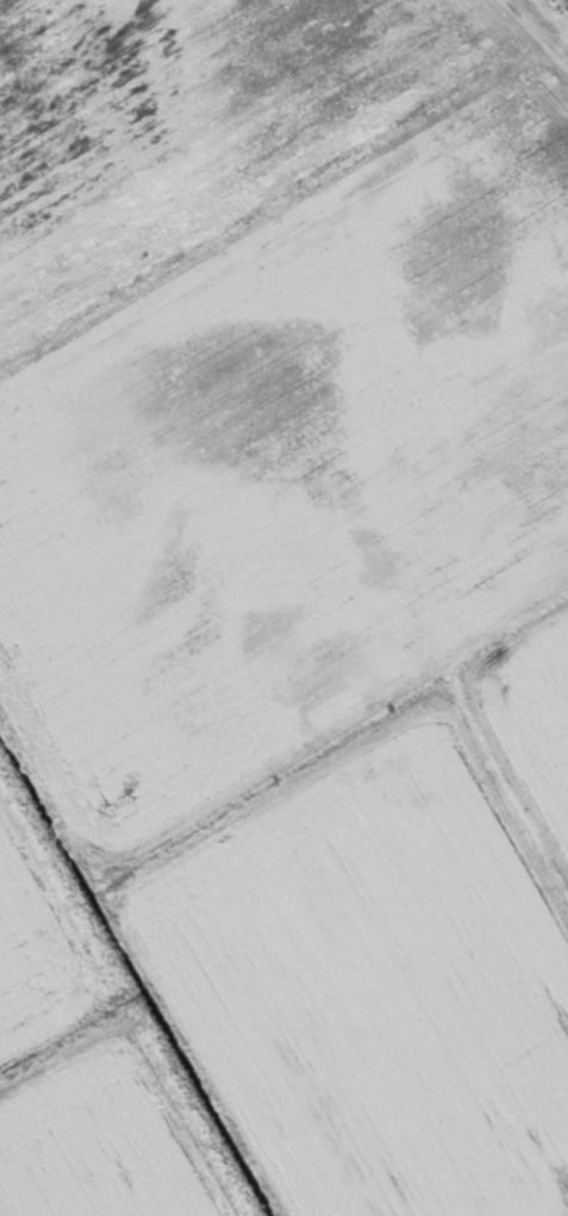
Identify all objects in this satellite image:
road: (519, 43)

